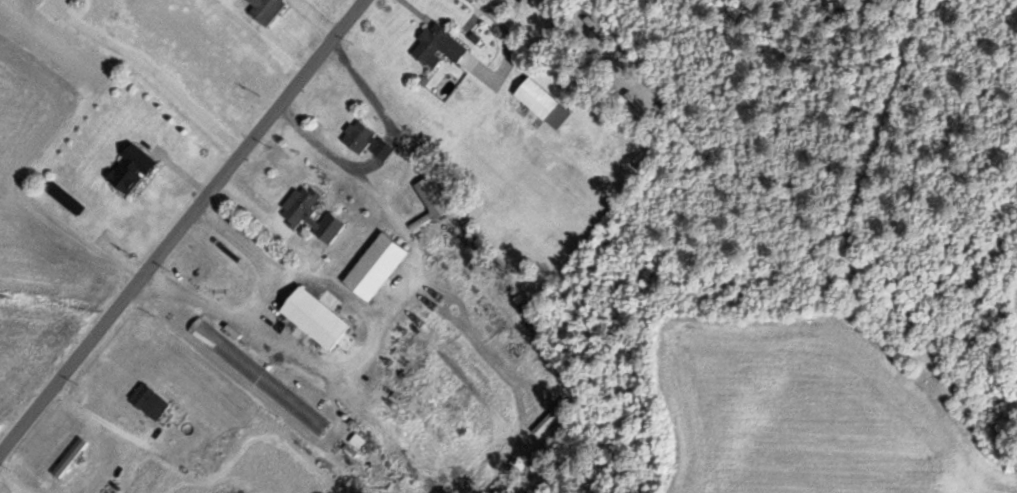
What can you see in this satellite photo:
building: (267, 10)
building: (439, 46)
building: (545, 103)
building: (359, 136)
building: (436, 196)
building: (296, 211)
road: (179, 226)
building: (379, 266)
building: (318, 317)
road: (844, 400)
building: (550, 416)
building: (69, 456)

